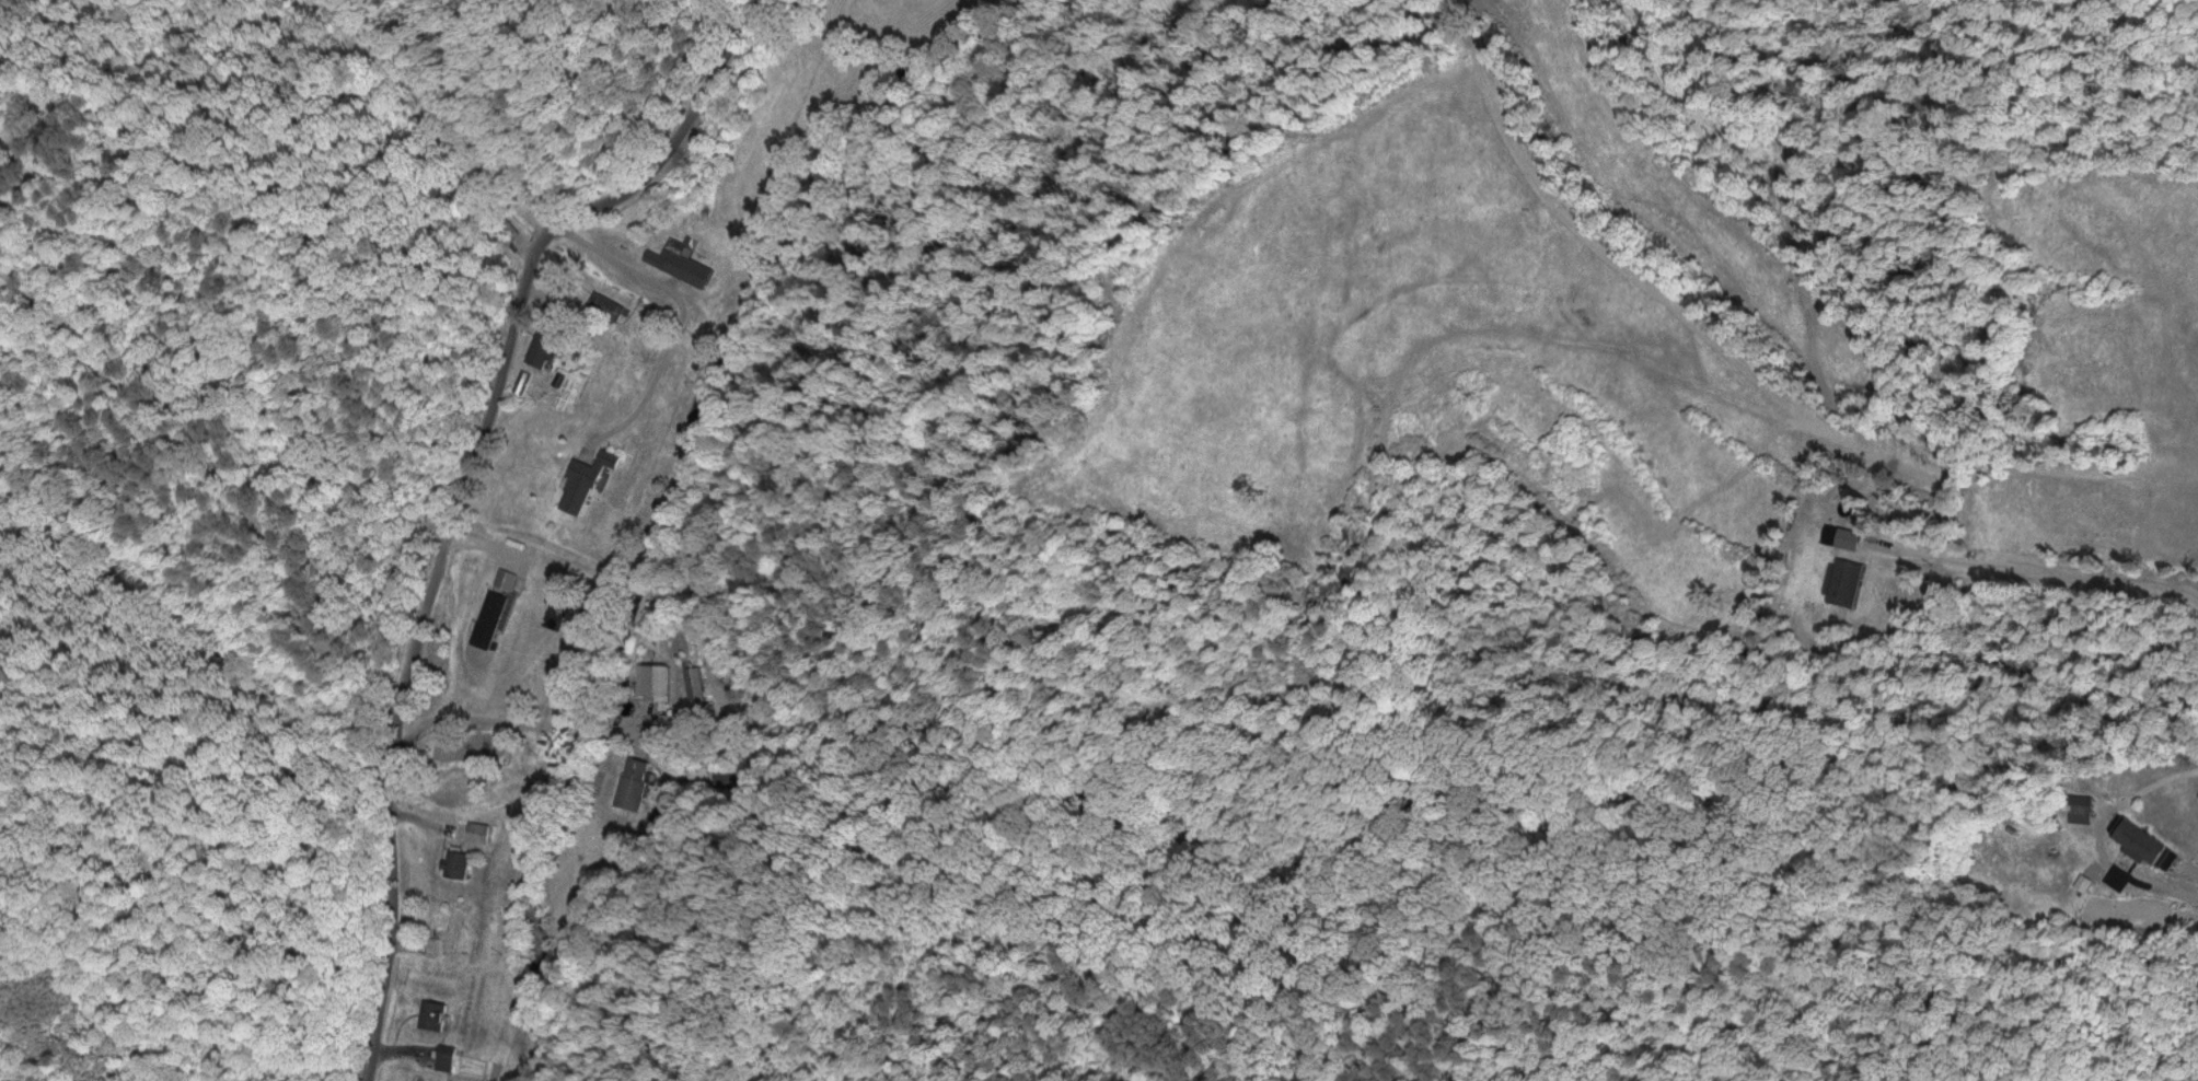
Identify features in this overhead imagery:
building: (678, 259)
road: (678, 316)
building: (539, 346)
building: (578, 479)
road: (458, 495)
building: (1826, 533)
road: (2033, 567)
building: (696, 577)
building: (1839, 580)
building: (649, 679)
building: (690, 681)
road: (507, 722)
building: (629, 782)
building: (2074, 806)
building: (473, 830)
building: (2136, 840)
building: (451, 864)
building: (427, 1013)
building: (439, 1056)

